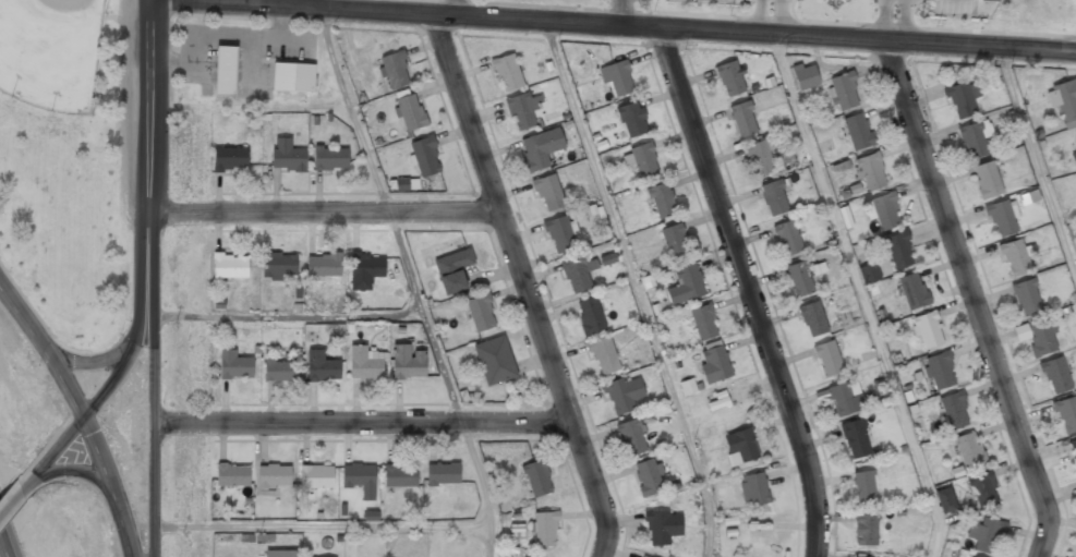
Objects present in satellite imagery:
building: (990, 0)
road: (298, 8)
road: (753, 35)
park: (50, 52)
building: (394, 70)
building: (225, 72)
building: (508, 73)
building: (806, 76)
building: (292, 78)
building: (617, 78)
building: (730, 78)
building: (843, 92)
building: (963, 100)
building: (1063, 100)
road: (250, 107)
building: (522, 111)
building: (410, 112)
building: (743, 119)
building: (631, 120)
road: (146, 125)
building: (858, 132)
building: (974, 140)
building: (541, 148)
building: (287, 156)
building: (425, 157)
building: (330, 158)
building: (229, 159)
building: (760, 159)
building: (1074, 159)
building: (644, 161)
road: (1037, 162)
park: (69, 165)
building: (870, 173)
building: (987, 180)
building: (548, 193)
building: (774, 198)
building: (662, 202)
building: (884, 211)
road: (322, 213)
building: (1001, 218)
building: (560, 235)
building: (788, 239)
building: (675, 242)
building: (899, 252)
building: (1015, 258)
building: (278, 266)
building: (324, 266)
building: (230, 267)
building: (365, 271)
building: (452, 271)
building: (869, 273)
building: (579, 275)
road: (414, 280)
building: (799, 280)
building: (686, 284)
road: (523, 286)
road: (636, 288)
road: (749, 291)
building: (912, 291)
road: (861, 295)
building: (1027, 298)
road: (975, 299)
building: (480, 314)
road: (289, 316)
building: (590, 316)
building: (813, 319)
road: (40, 320)
building: (703, 323)
building: (928, 330)
building: (1042, 338)
building: (604, 355)
building: (827, 359)
building: (495, 361)
road: (85, 362)
building: (408, 363)
building: (365, 364)
building: (714, 364)
building: (234, 366)
building: (322, 367)
building: (280, 371)
building: (940, 371)
building: (1056, 376)
road: (110, 380)
building: (687, 386)
building: (624, 395)
building: (845, 399)
road: (153, 403)
building: (717, 403)
building: (955, 411)
road: (81, 415)
building: (1066, 415)
road: (362, 424)
building: (631, 438)
building: (856, 440)
building: (740, 448)
building: (1074, 448)
building: (969, 451)
road: (68, 470)
building: (232, 474)
building: (443, 474)
building: (274, 476)
building: (316, 476)
building: (400, 476)
building: (649, 477)
building: (360, 479)
building: (537, 479)
building: (863, 487)
building: (753, 489)
building: (984, 491)
road: (11, 500)
building: (945, 501)
road: (321, 526)
building: (663, 526)
building: (545, 529)
building: (867, 530)
building: (987, 536)
road: (3, 547)
building: (280, 554)
building: (972, 556)

